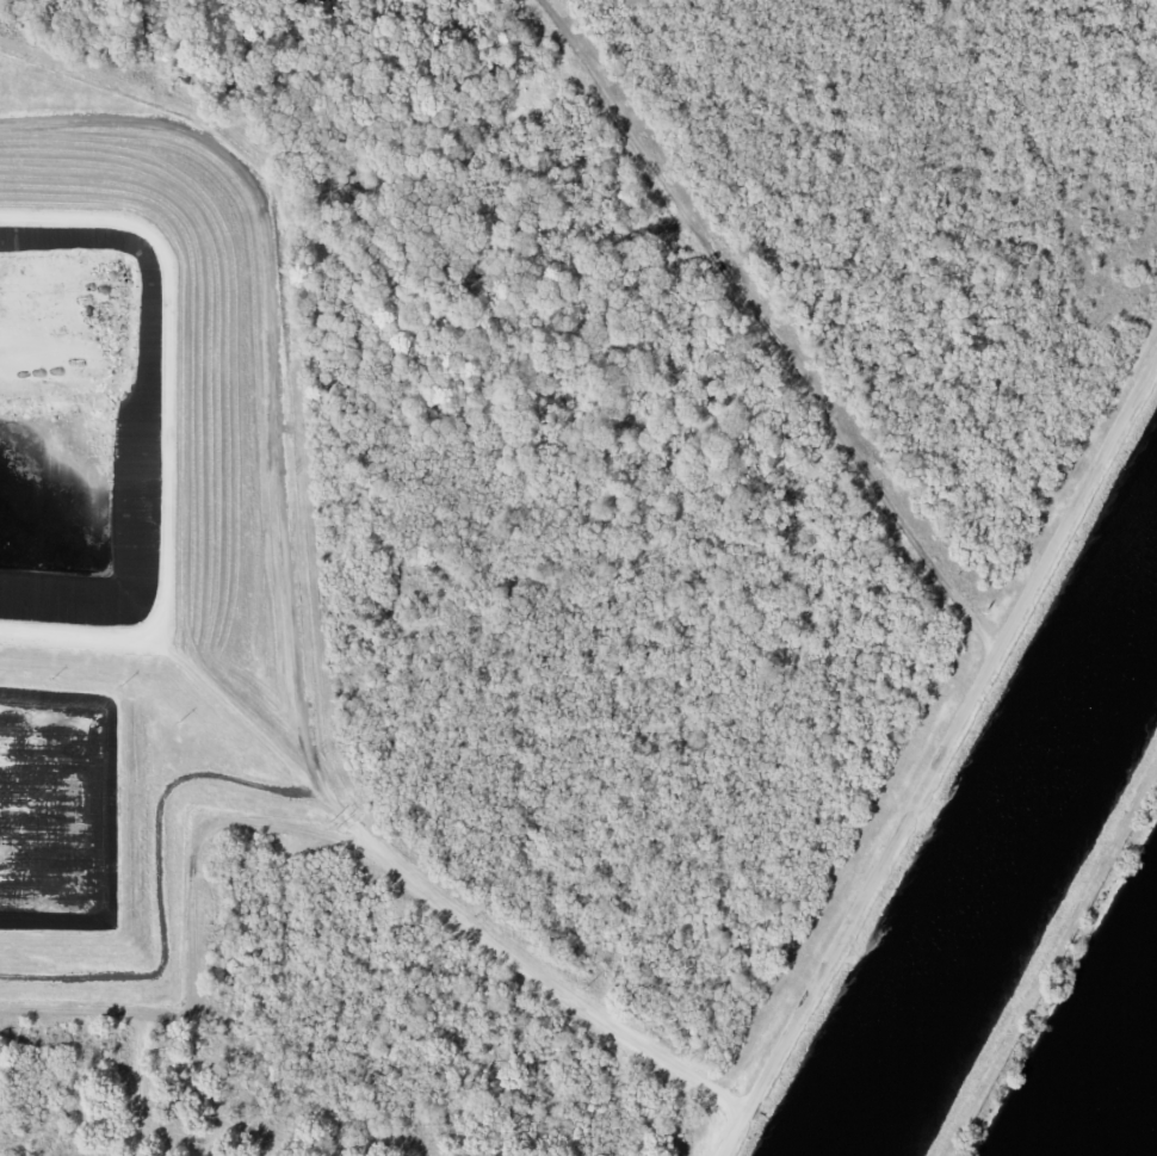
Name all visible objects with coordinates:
road: (767, 327)
road: (290, 620)
road: (939, 755)

